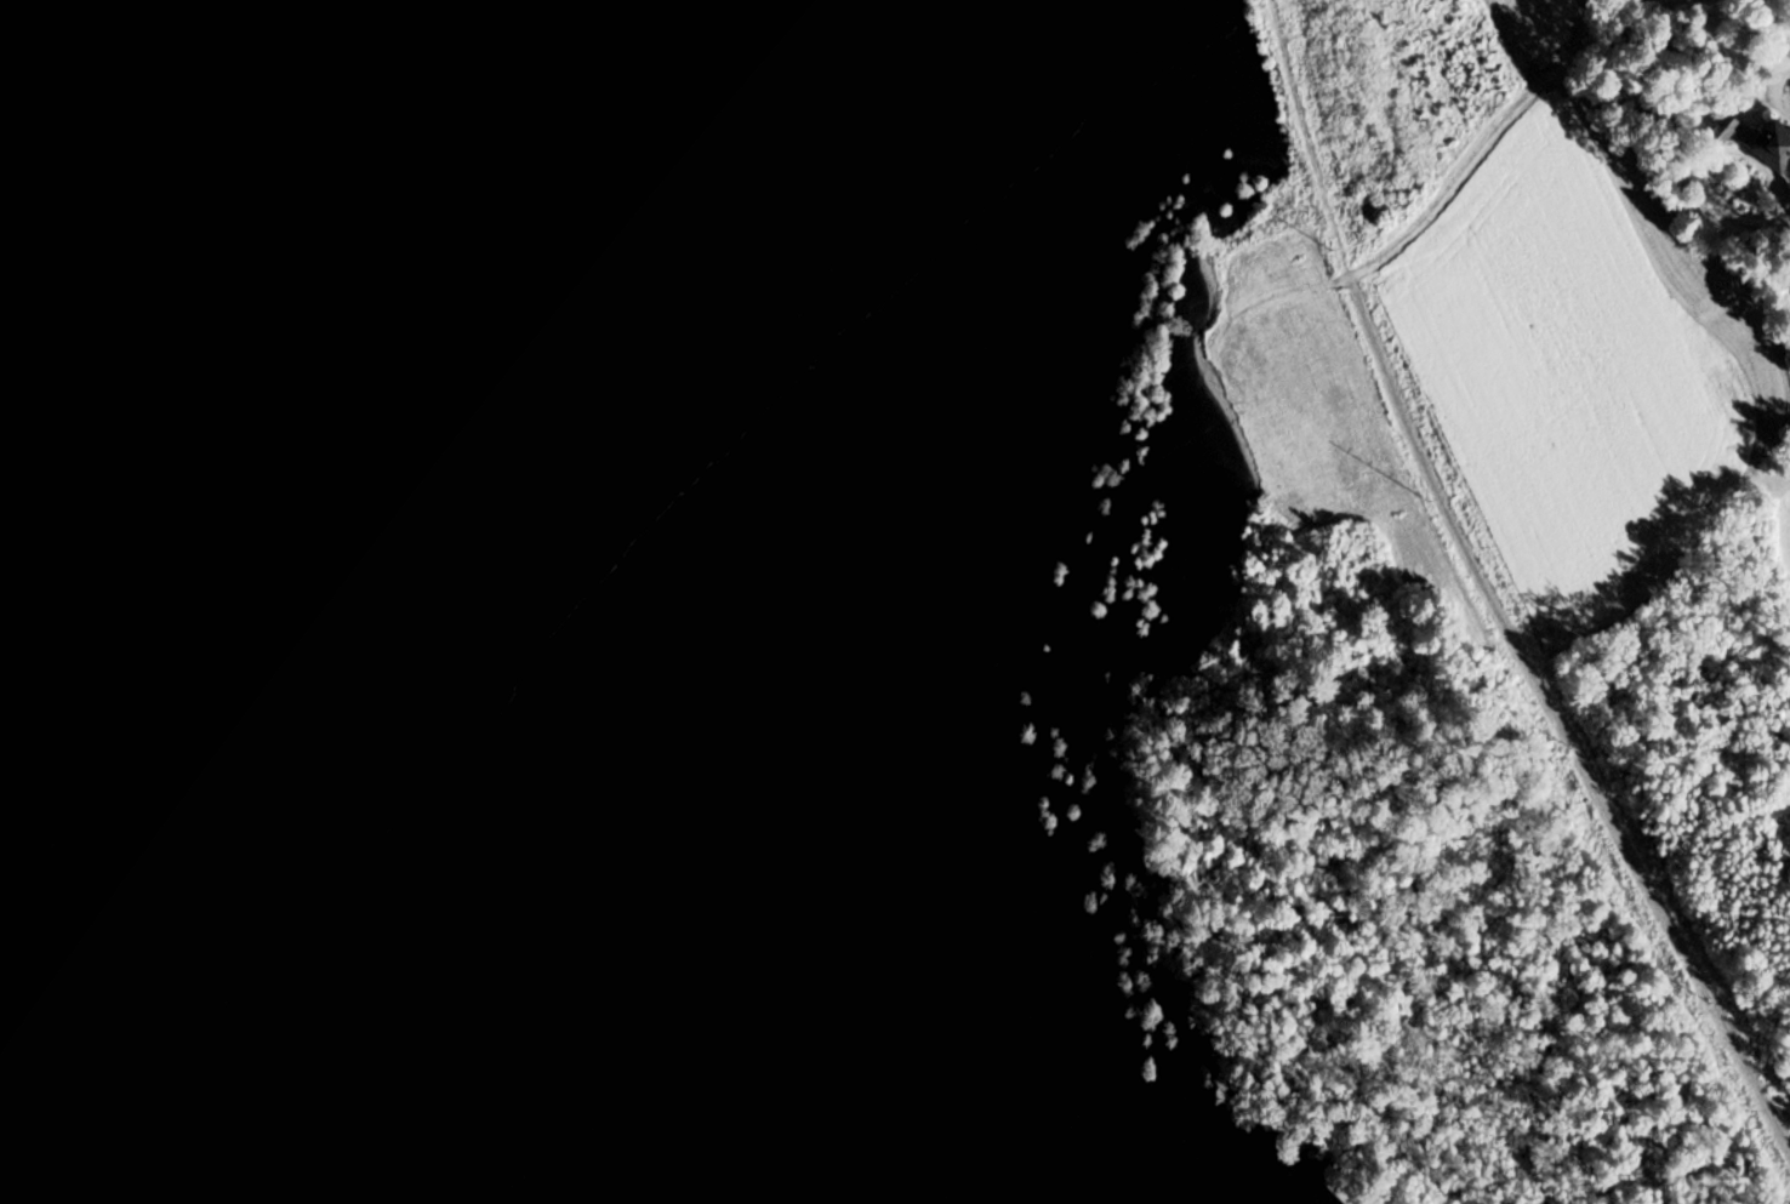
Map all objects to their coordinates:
road: (1775, 91)
building: (1763, 143)

